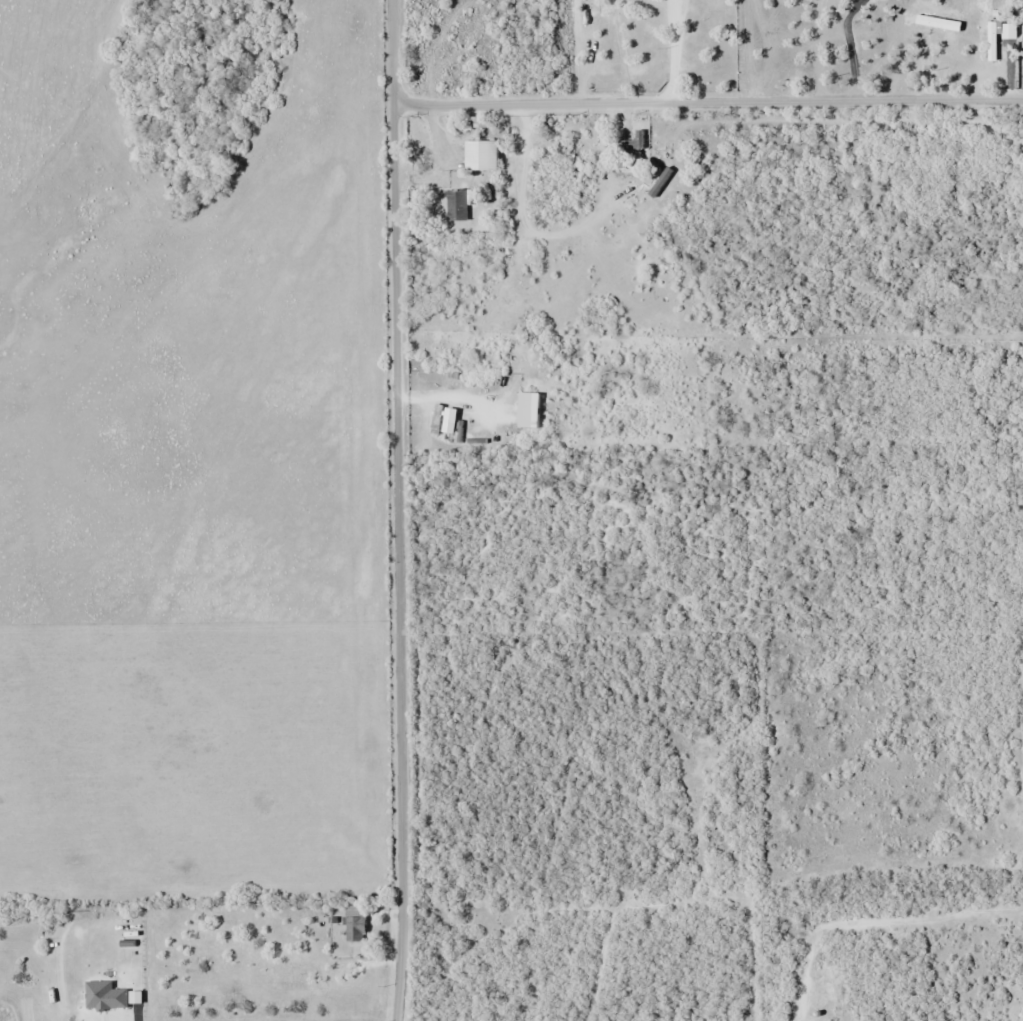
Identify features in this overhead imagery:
road: (708, 101)
building: (477, 121)
building: (634, 141)
building: (478, 155)
building: (455, 205)
road: (398, 510)
building: (352, 925)

